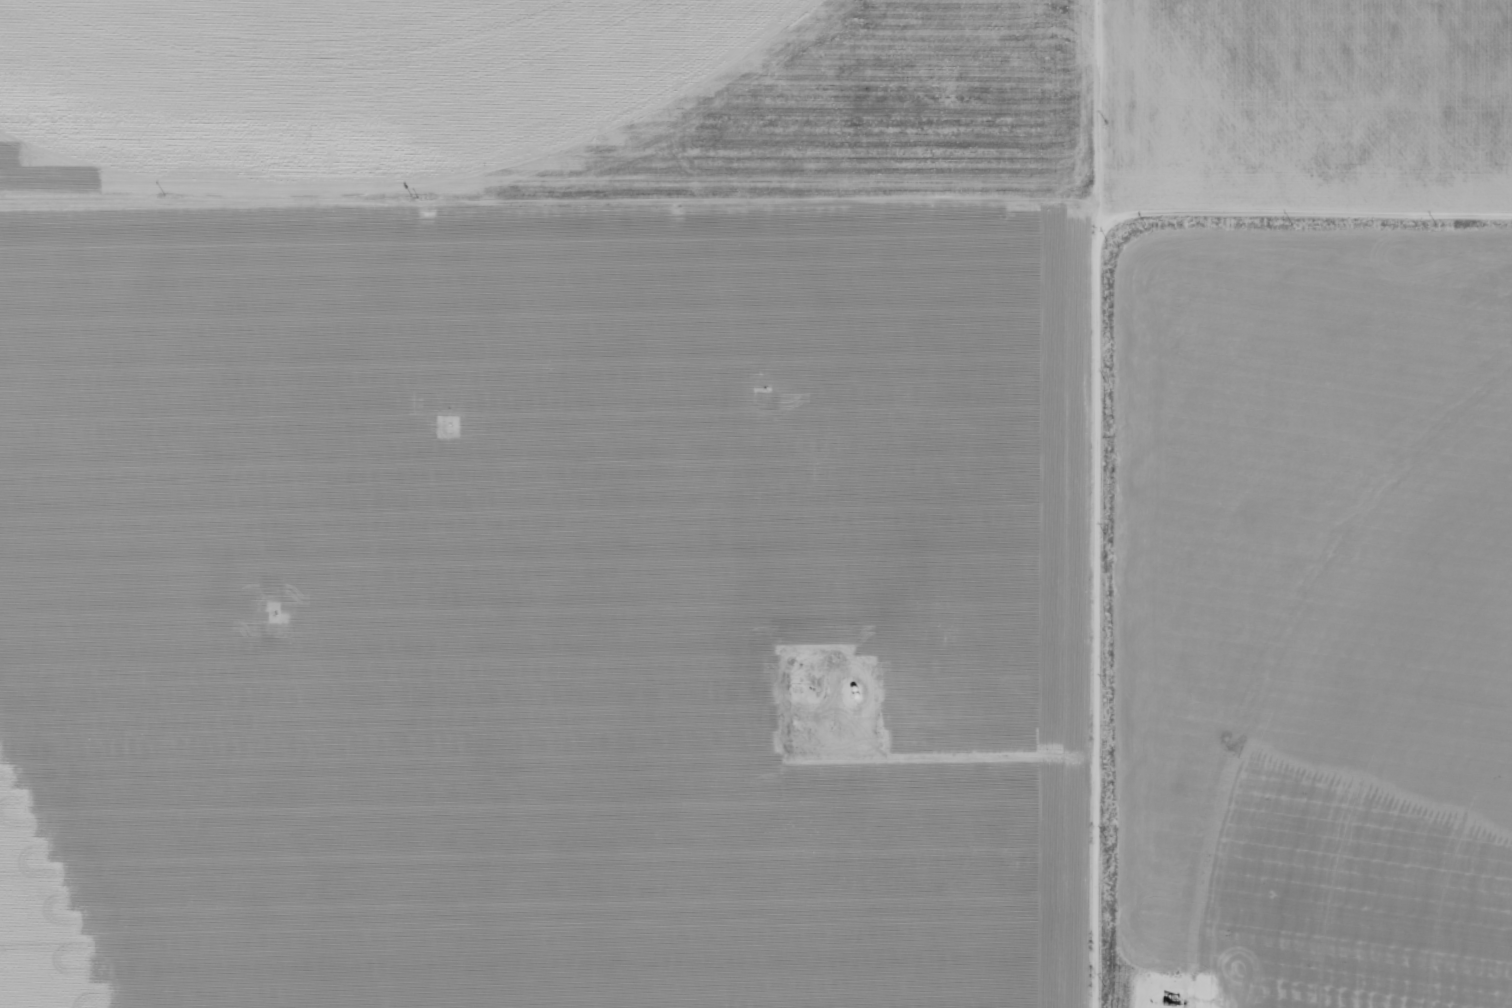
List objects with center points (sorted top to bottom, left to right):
road: (1311, 195)
road: (1107, 504)
petroleum well: (1164, 1002)

